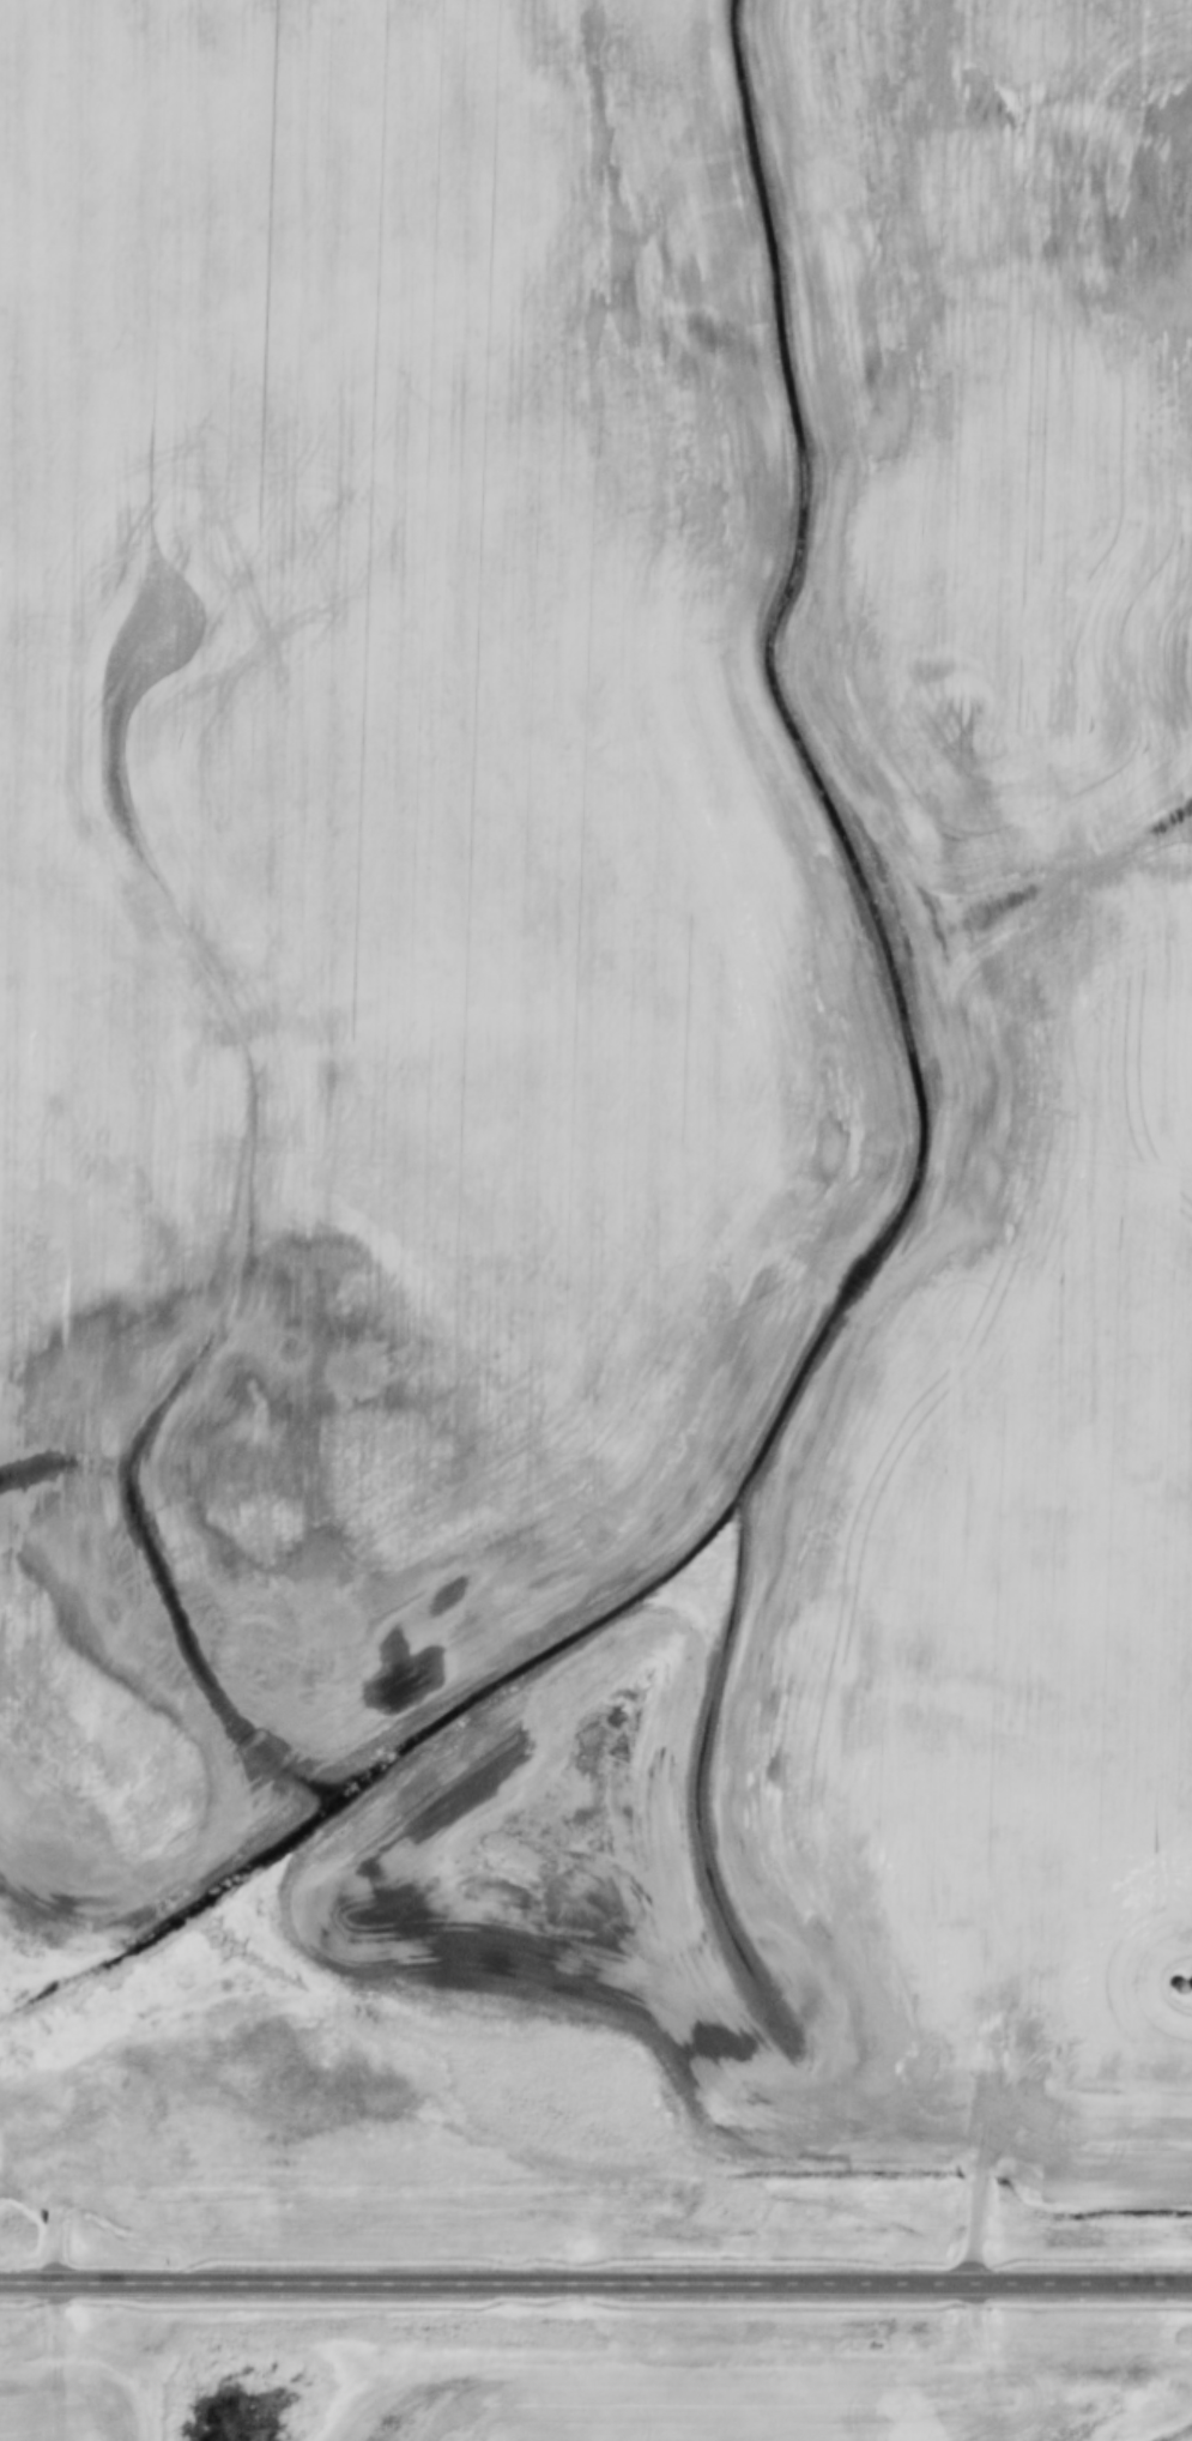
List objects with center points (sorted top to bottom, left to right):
road: (595, 2282)

